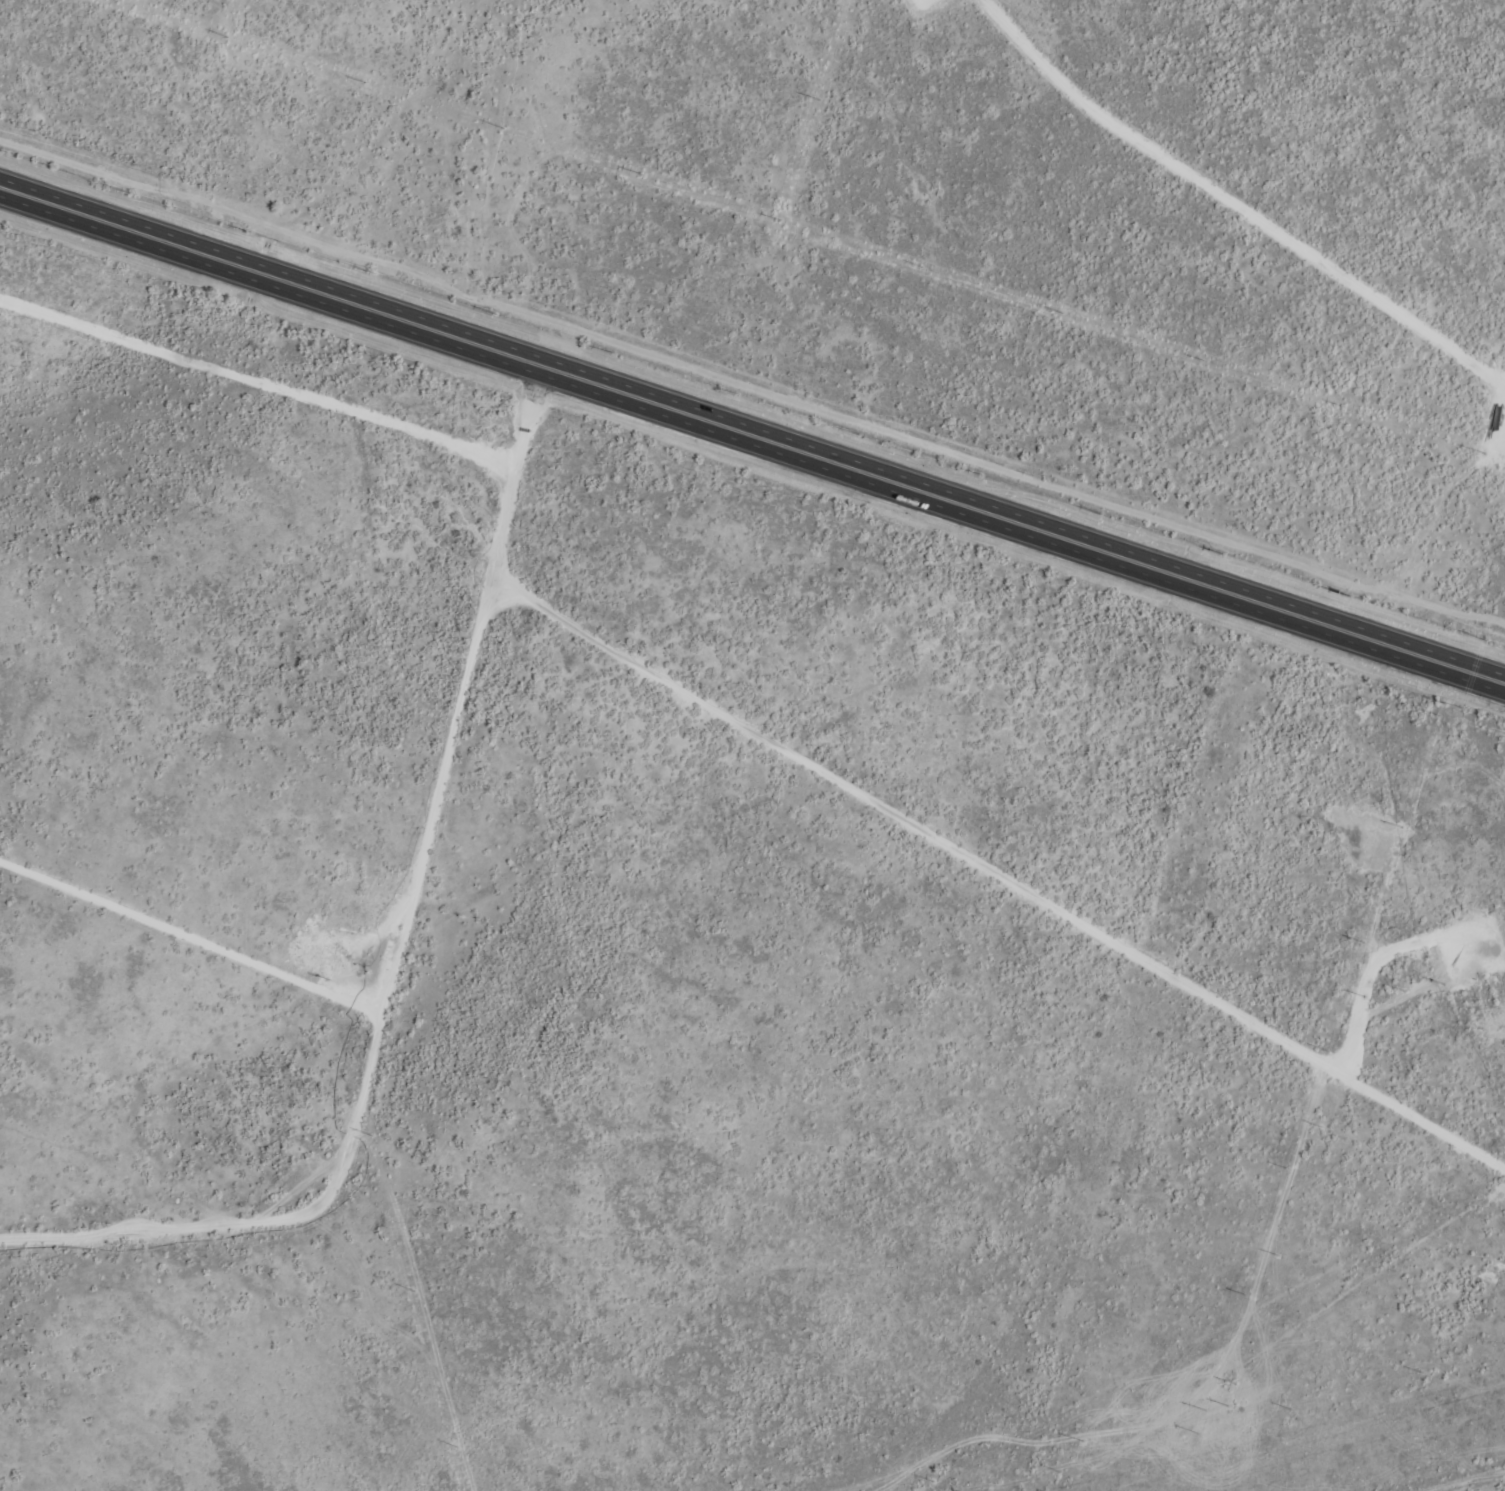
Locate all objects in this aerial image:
river: (388, 144)
river: (257, 272)
road: (752, 439)

